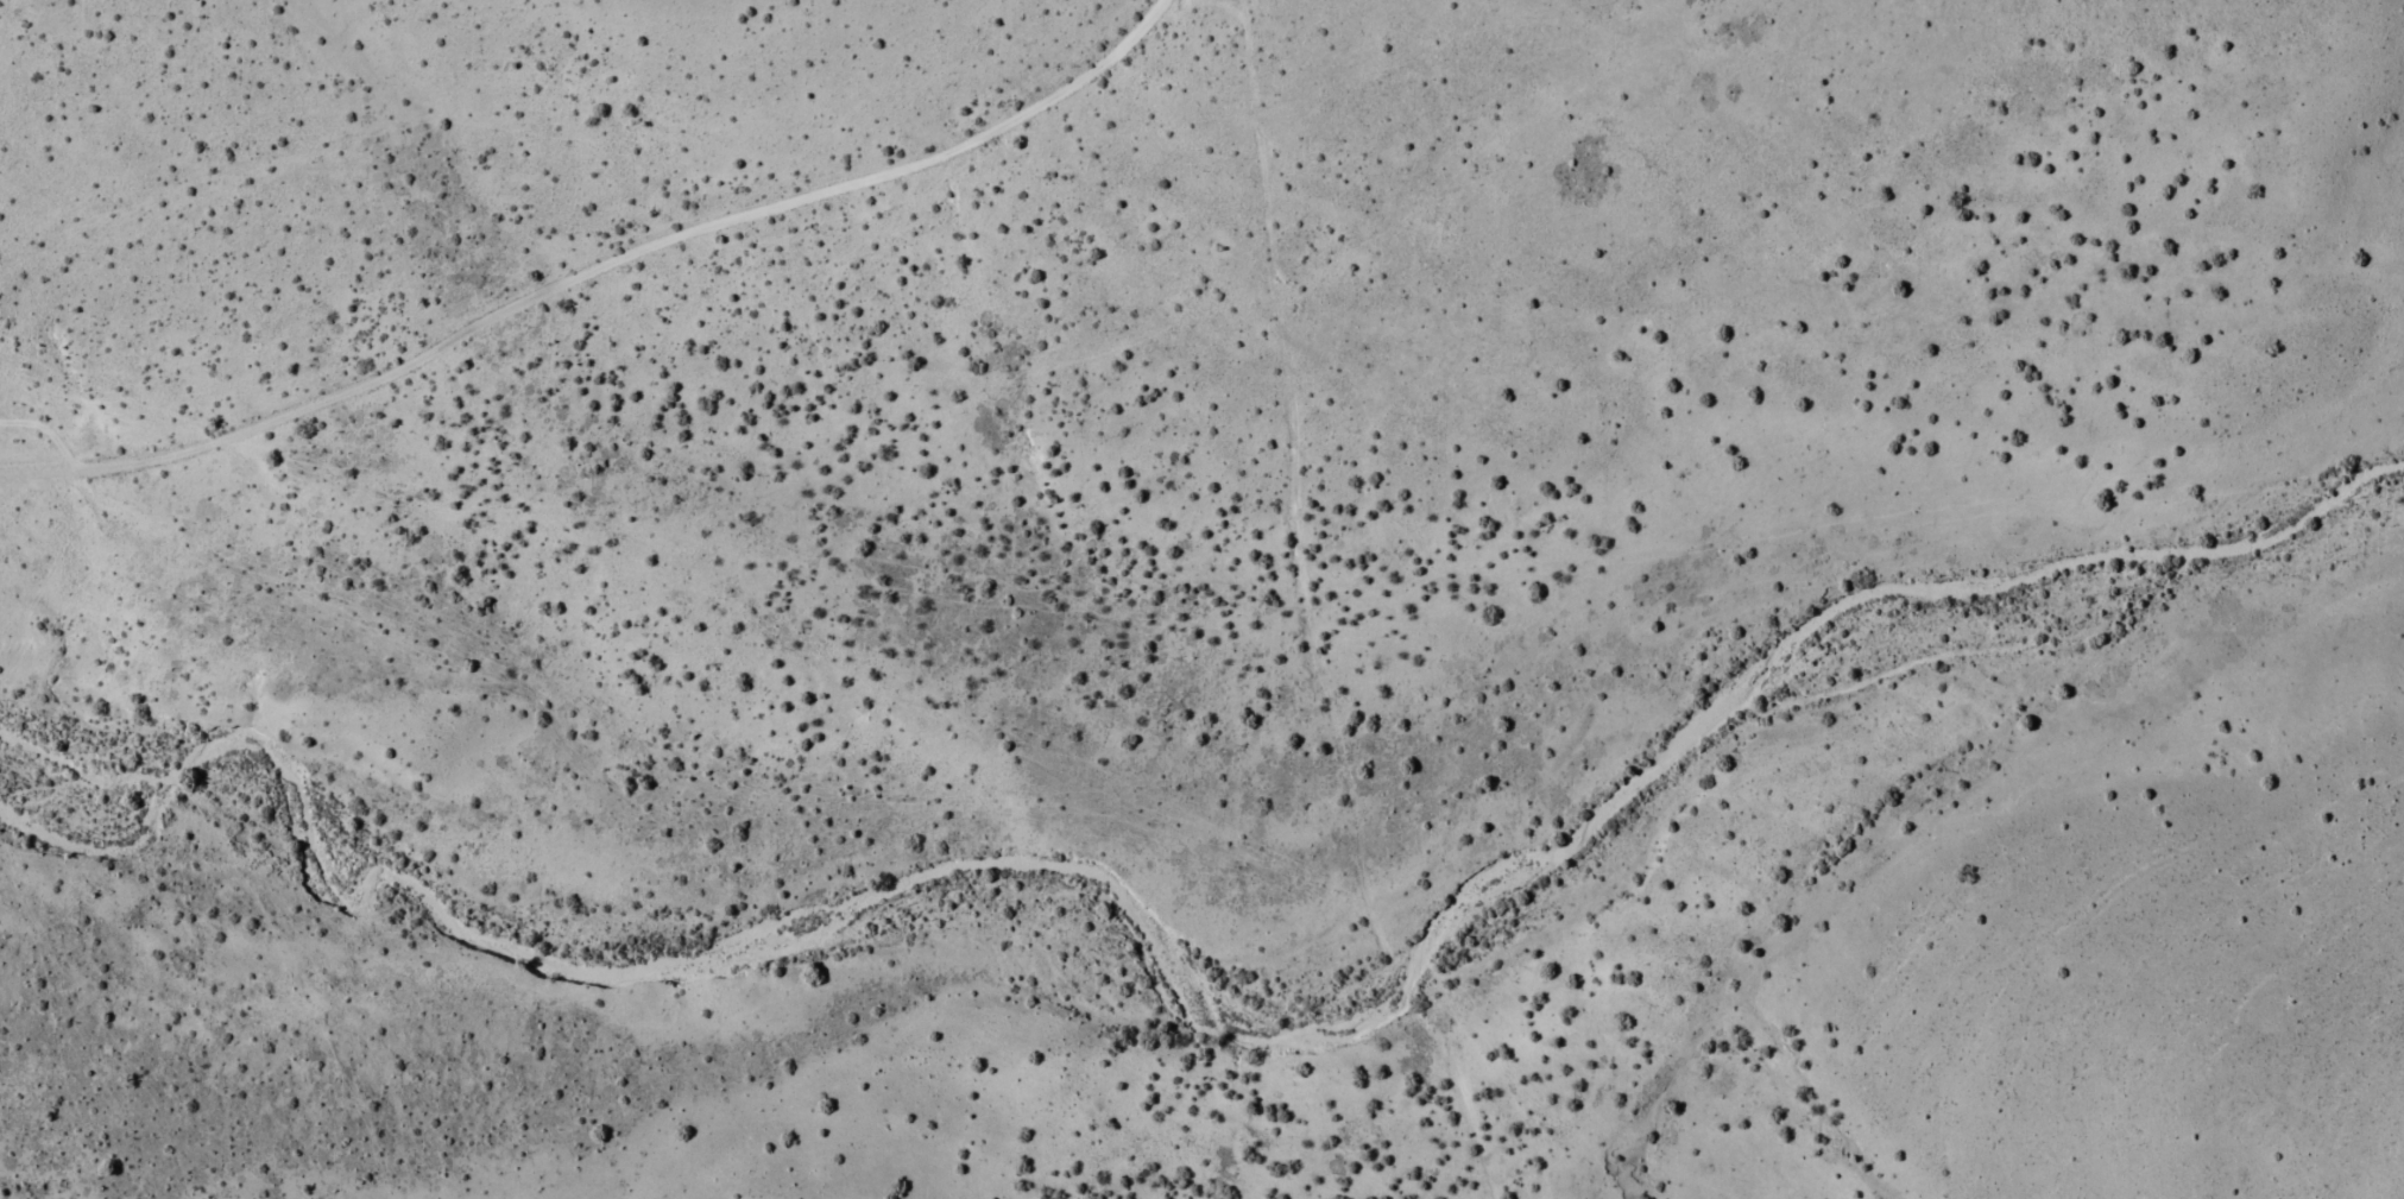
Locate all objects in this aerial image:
road: (591, 261)
road: (1340, 600)

